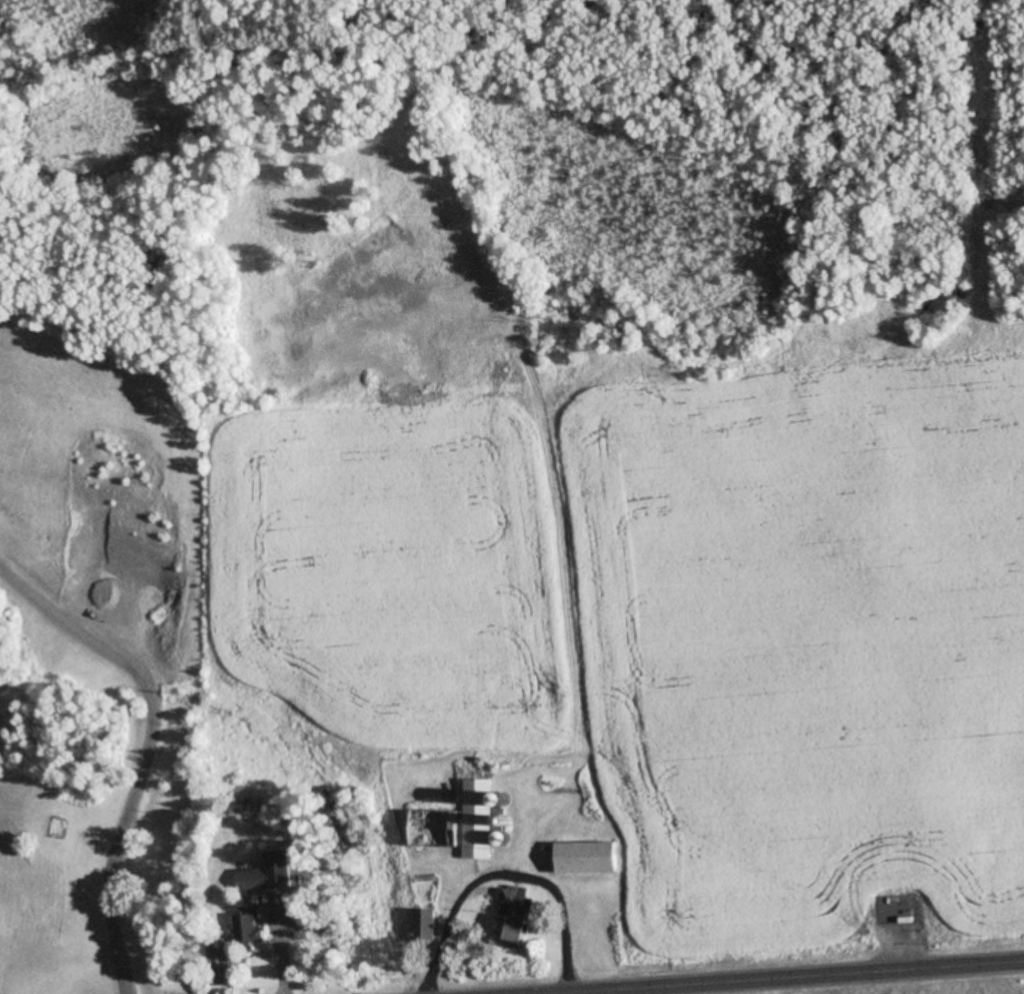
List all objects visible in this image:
crop: (659, 627)
building: (455, 825)
building: (581, 858)
building: (247, 881)
building: (419, 927)
building: (243, 928)
building: (504, 932)
road: (802, 978)

